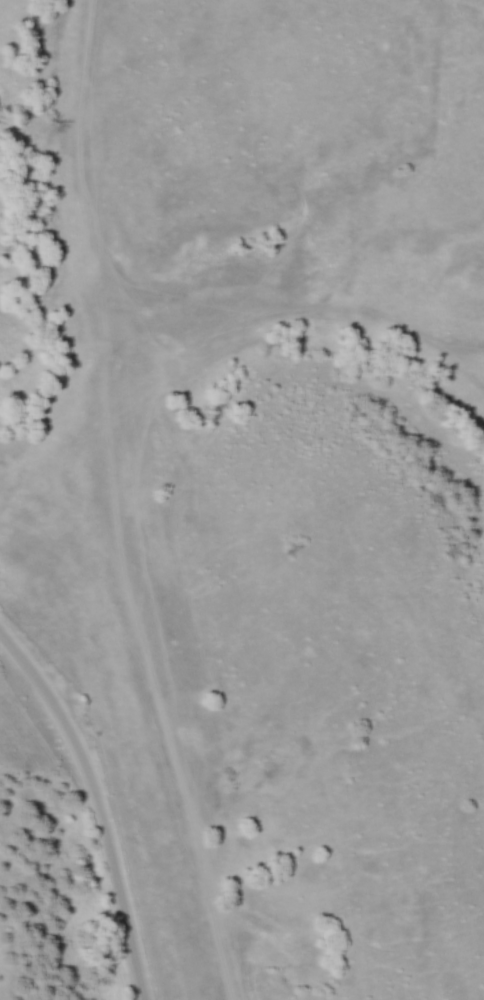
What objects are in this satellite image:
road: (102, 805)

